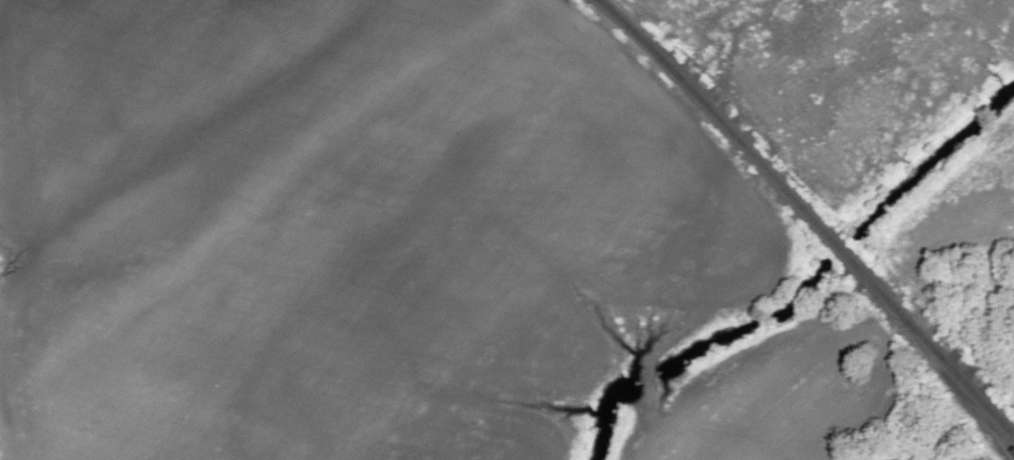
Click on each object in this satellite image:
railway: (807, 216)
railway: (944, 375)
railway: (979, 424)

